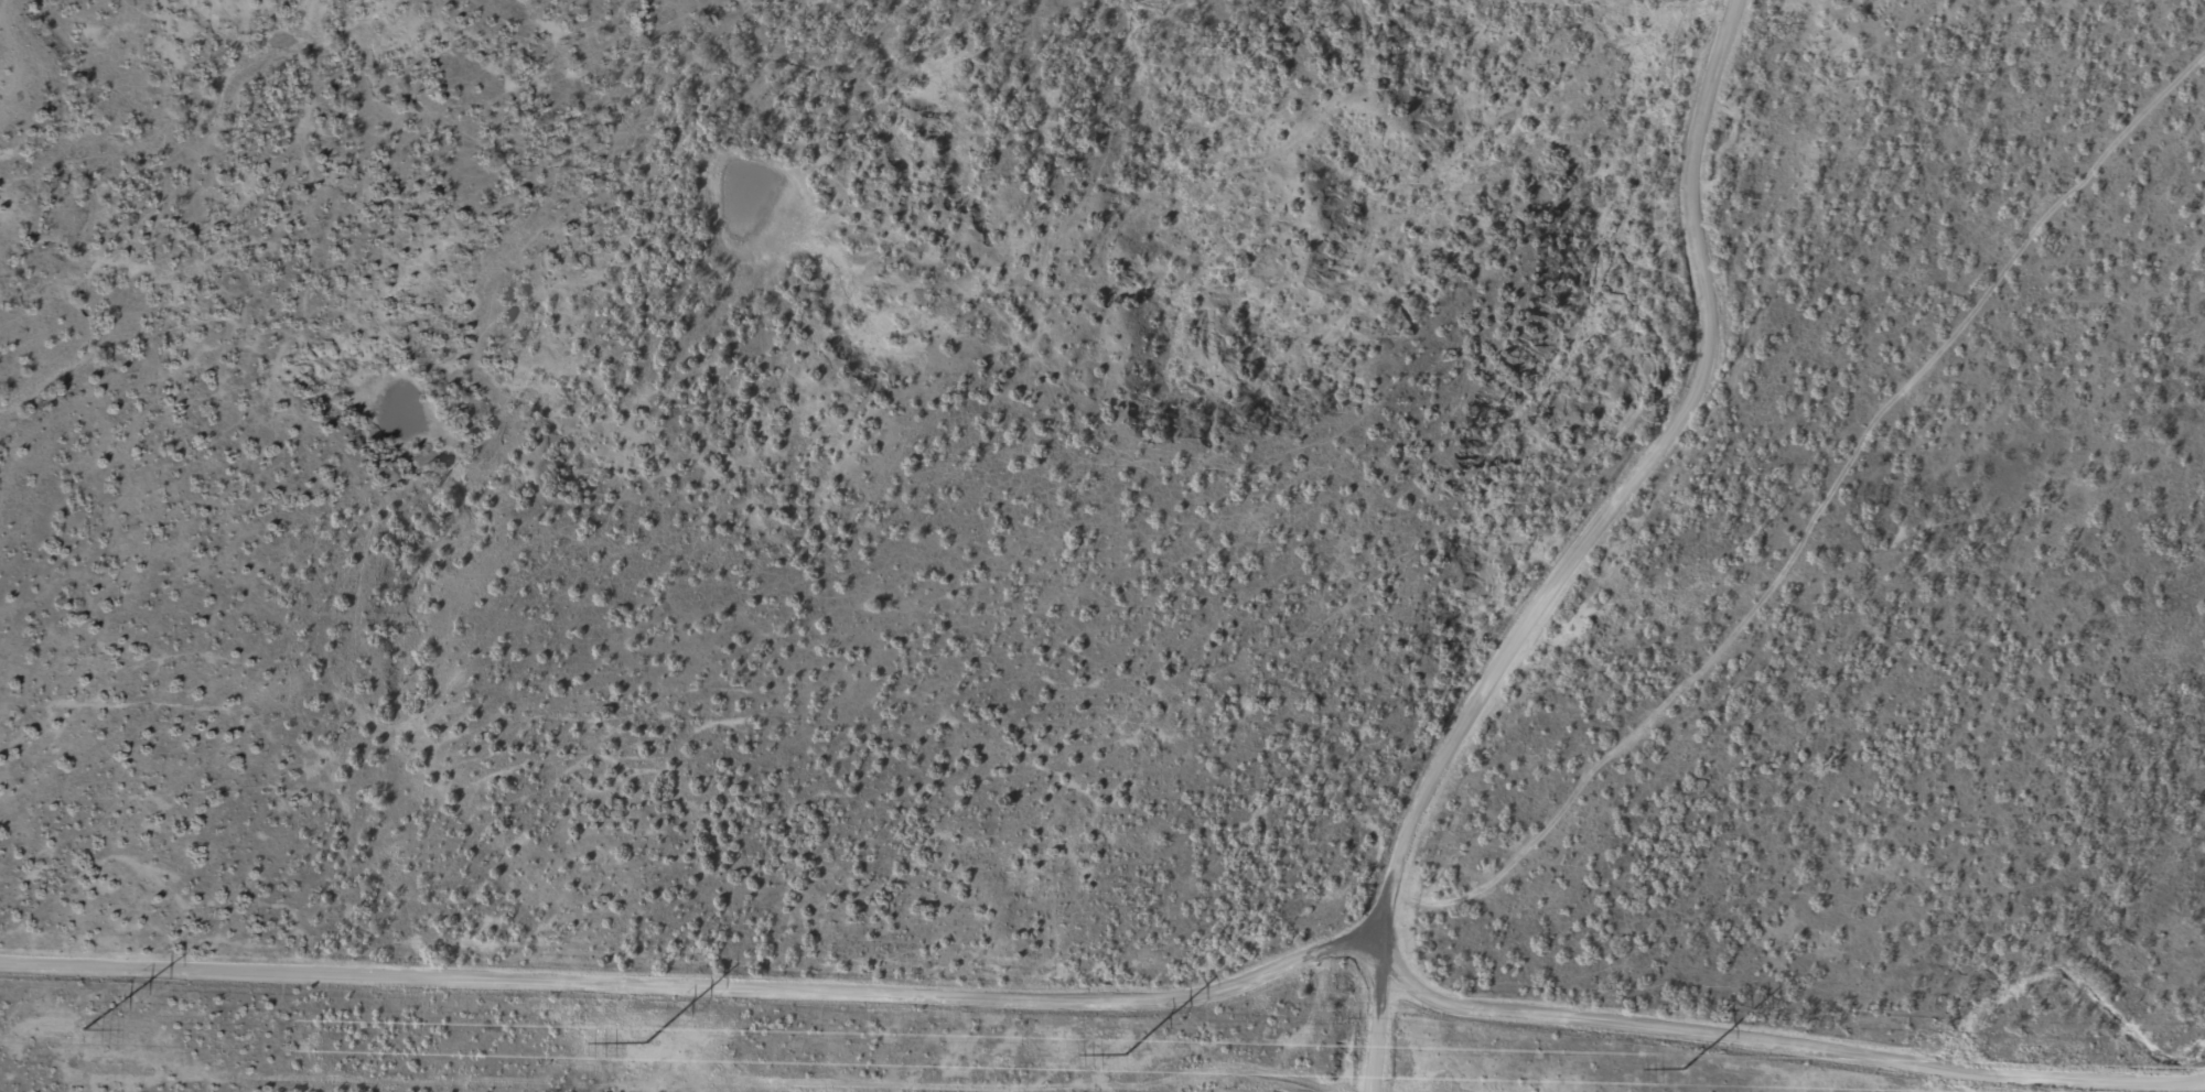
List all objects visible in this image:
road: (1580, 548)
road: (1123, 998)
power tower: (85, 1027)
power tower: (647, 1040)
power tower: (1127, 1051)
power tower: (1687, 1066)

